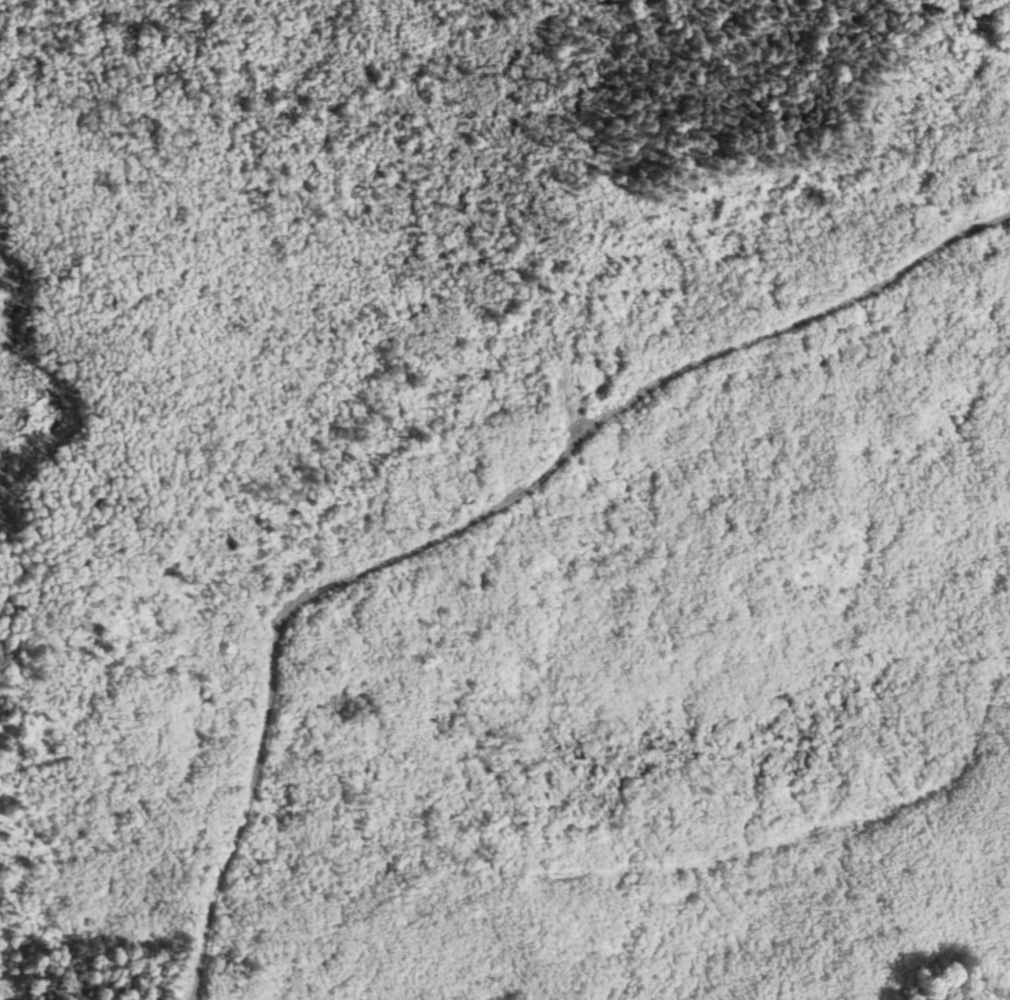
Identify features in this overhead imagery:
road: (480, 522)

